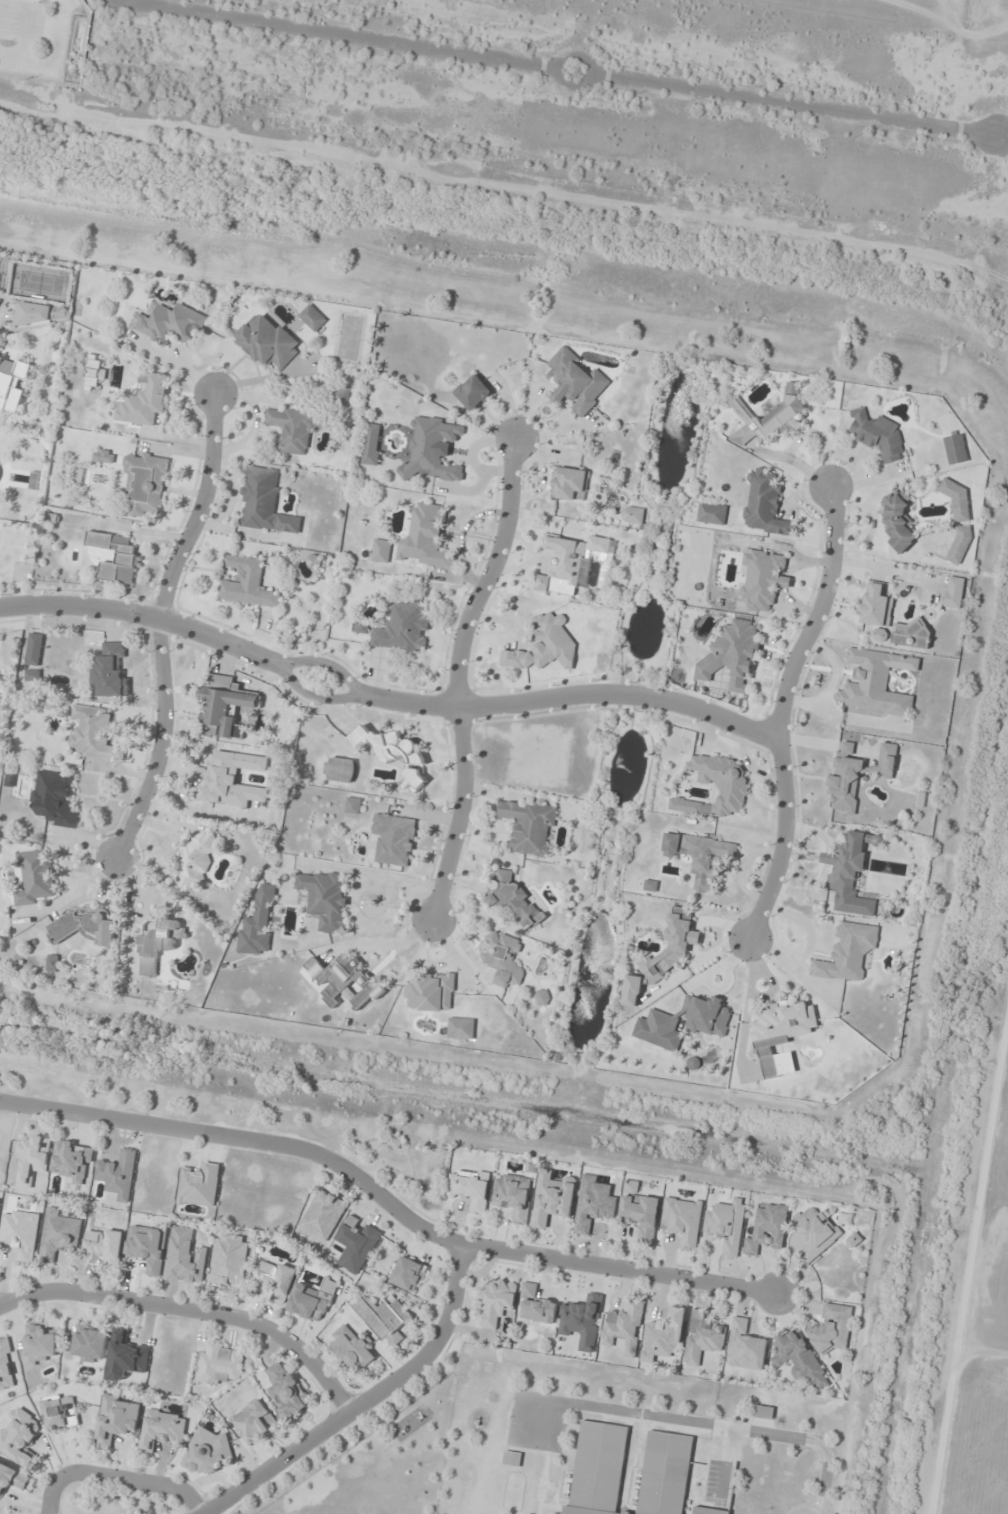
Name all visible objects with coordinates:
road: (558, 68)
building: (42, 314)
building: (312, 318)
building: (169, 323)
building: (267, 342)
building: (93, 372)
building: (576, 382)
building: (12, 384)
building: (473, 392)
building: (340, 396)
building: (143, 400)
building: (738, 406)
building: (778, 416)
building: (291, 429)
building: (878, 435)
building: (371, 444)
building: (432, 449)
building: (955, 449)
building: (103, 456)
building: (146, 483)
building: (569, 483)
building: (957, 500)
building: (264, 502)
building: (765, 505)
building: (712, 513)
building: (632, 515)
building: (897, 521)
building: (425, 538)
building: (959, 545)
building: (381, 551)
building: (127, 556)
building: (579, 559)
building: (763, 579)
building: (247, 584)
building: (954, 592)
building: (876, 605)
road: (159, 626)
building: (403, 628)
building: (910, 633)
building: (545, 644)
building: (34, 649)
building: (731, 658)
building: (110, 672)
building: (32, 675)
road: (454, 676)
building: (876, 682)
road: (385, 699)
building: (225, 706)
road: (778, 709)
building: (92, 733)
building: (396, 755)
building: (340, 770)
building: (856, 775)
building: (230, 779)
building: (721, 781)
building: (55, 799)
building: (353, 805)
building: (685, 806)
building: (529, 826)
building: (394, 839)
building: (700, 857)
building: (194, 860)
building: (850, 874)
building: (35, 877)
building: (325, 899)
building: (513, 900)
building: (258, 924)
building: (86, 926)
building: (160, 942)
building: (848, 953)
building: (502, 958)
building: (52, 963)
building: (343, 981)
building: (431, 992)
building: (542, 997)
building: (707, 1016)
building: (461, 1028)
building: (781, 1035)
building: (661, 1036)
building: (32, 1158)
building: (72, 1161)
building: (118, 1174)
building: (198, 1186)
building: (470, 1189)
building: (513, 1196)
building: (552, 1200)
road: (386, 1202)
building: (593, 1204)
building: (639, 1211)
building: (323, 1215)
building: (683, 1220)
building: (727, 1226)
building: (767, 1230)
building: (815, 1232)
building: (21, 1234)
building: (58, 1234)
building: (853, 1241)
building: (356, 1244)
building: (105, 1245)
building: (147, 1246)
building: (184, 1257)
building: (229, 1260)
building: (407, 1274)
building: (276, 1279)
building: (313, 1300)
building: (497, 1301)
building: (536, 1306)
road: (192, 1310)
building: (386, 1318)
building: (624, 1327)
building: (832, 1329)
building: (663, 1336)
building: (702, 1338)
building: (39, 1343)
building: (90, 1345)
building: (745, 1347)
building: (352, 1348)
building: (126, 1357)
building: (799, 1359)
building: (220, 1364)
building: (6, 1366)
building: (286, 1391)
road: (365, 1400)
building: (59, 1411)
building: (763, 1412)
building: (117, 1419)
building: (254, 1422)
building: (162, 1429)
building: (20, 1438)
building: (207, 1452)
building: (512, 1459)
building: (598, 1469)
building: (665, 1474)
road: (117, 1476)
building: (12, 1479)
building: (708, 1511)

